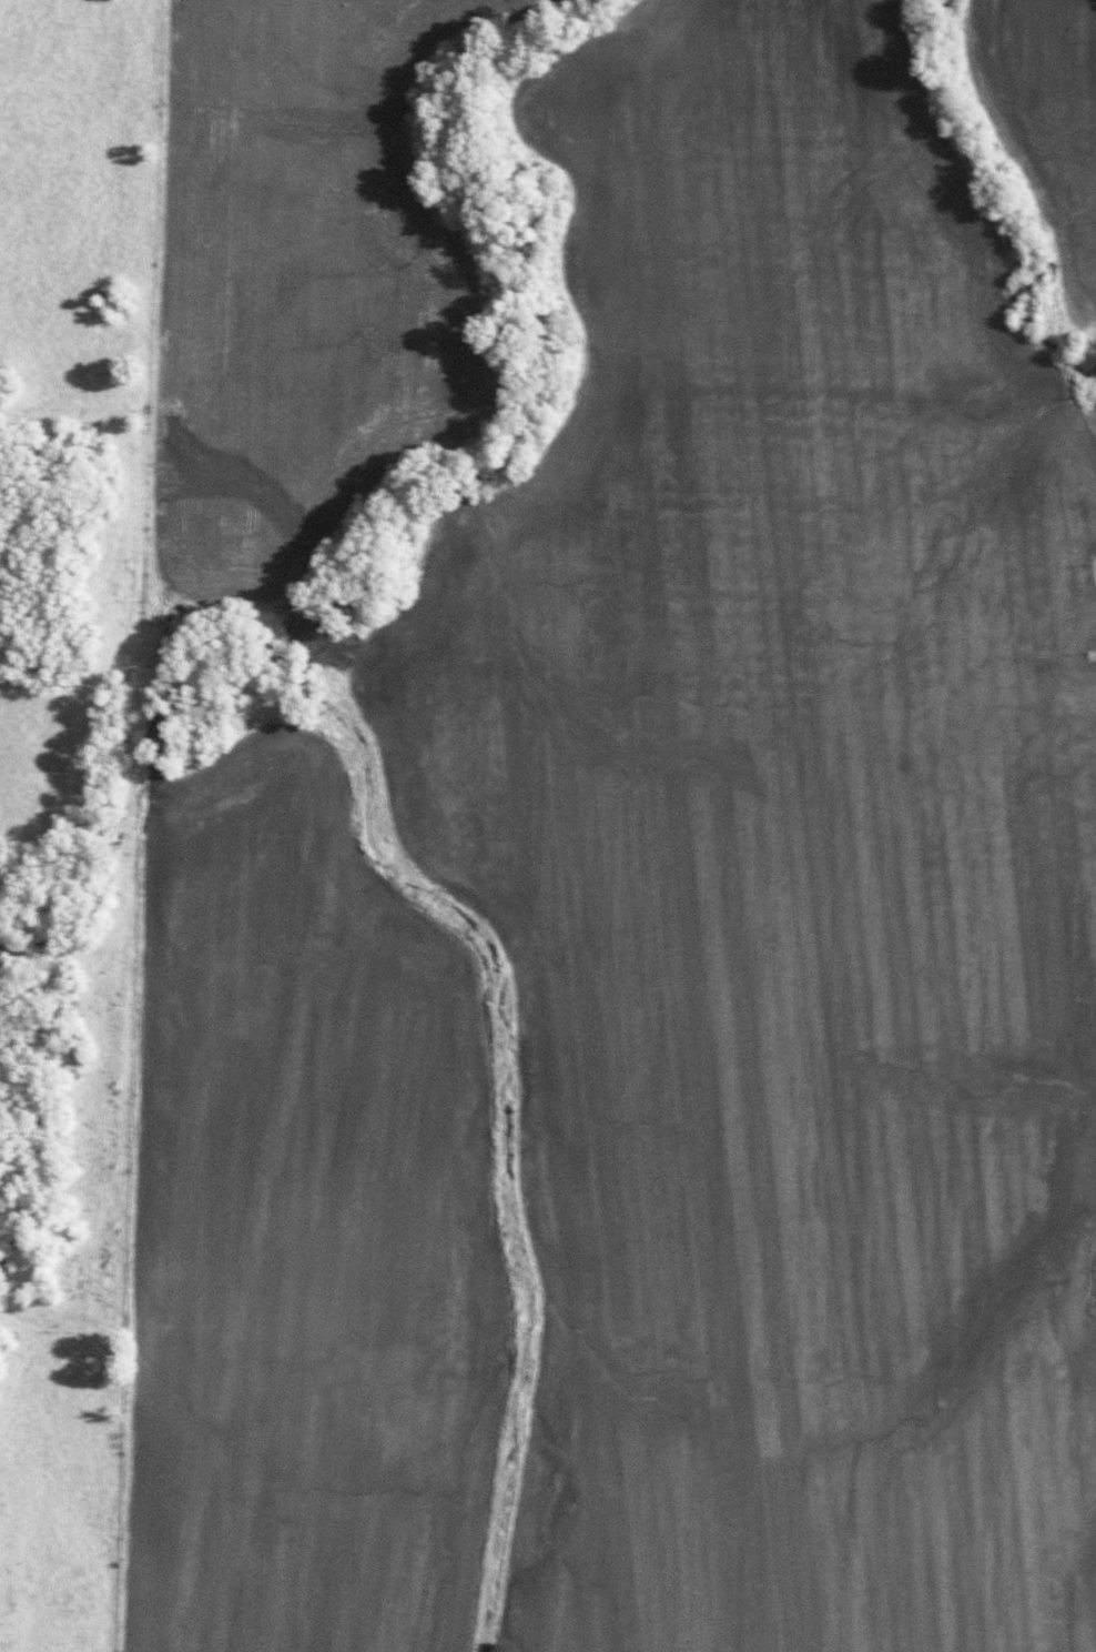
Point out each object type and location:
building: (1028, 632)
road: (1083, 644)
building: (944, 719)
building: (1059, 739)

